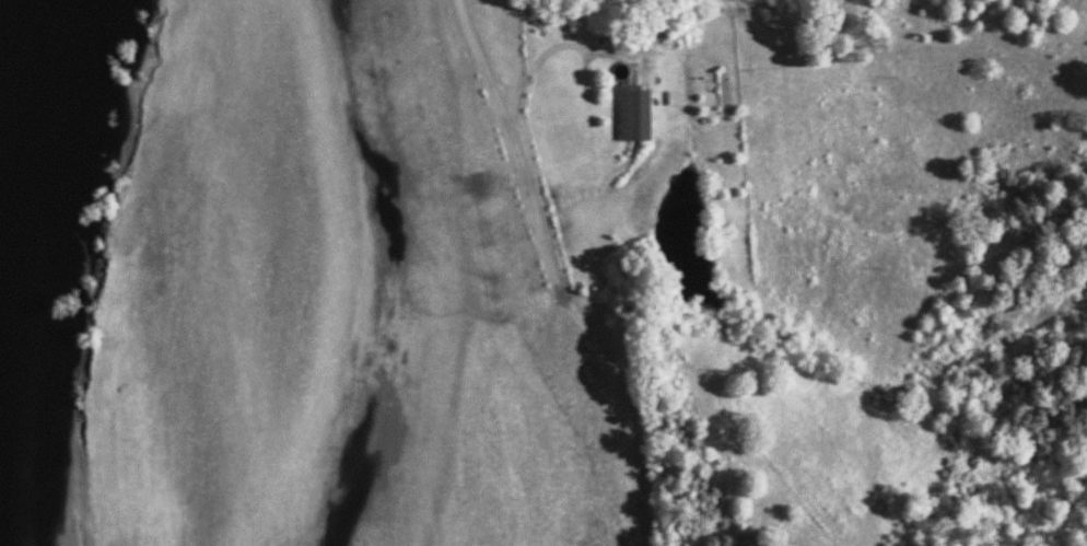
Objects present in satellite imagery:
building: (639, 115)
river: (36, 222)
road: (551, 276)

